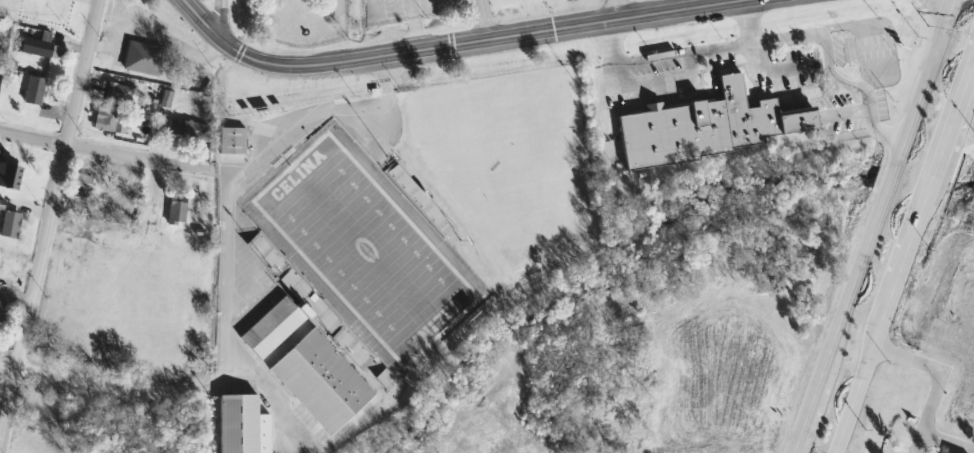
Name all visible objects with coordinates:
road: (615, 10)
road: (927, 13)
road: (220, 20)
road: (483, 21)
park: (302, 22)
road: (413, 26)
road: (152, 34)
building: (867, 45)
building: (36, 48)
road: (443, 48)
road: (678, 52)
building: (142, 59)
road: (828, 65)
road: (80, 72)
road: (967, 83)
building: (33, 91)
building: (117, 92)
building: (165, 98)
building: (110, 119)
road: (311, 125)
building: (705, 127)
building: (185, 130)
building: (231, 141)
road: (104, 152)
building: (9, 176)
building: (115, 196)
building: (176, 208)
building: (9, 224)
road: (862, 226)
park: (380, 243)
road: (900, 248)
park: (365, 250)
road: (228, 272)
road: (32, 294)
building: (293, 298)
building: (2, 308)
road: (935, 367)
road: (8, 368)
building: (320, 381)
road: (122, 387)
road: (273, 400)
building: (242, 425)
road: (946, 443)
building: (37, 444)
road: (916, 444)

